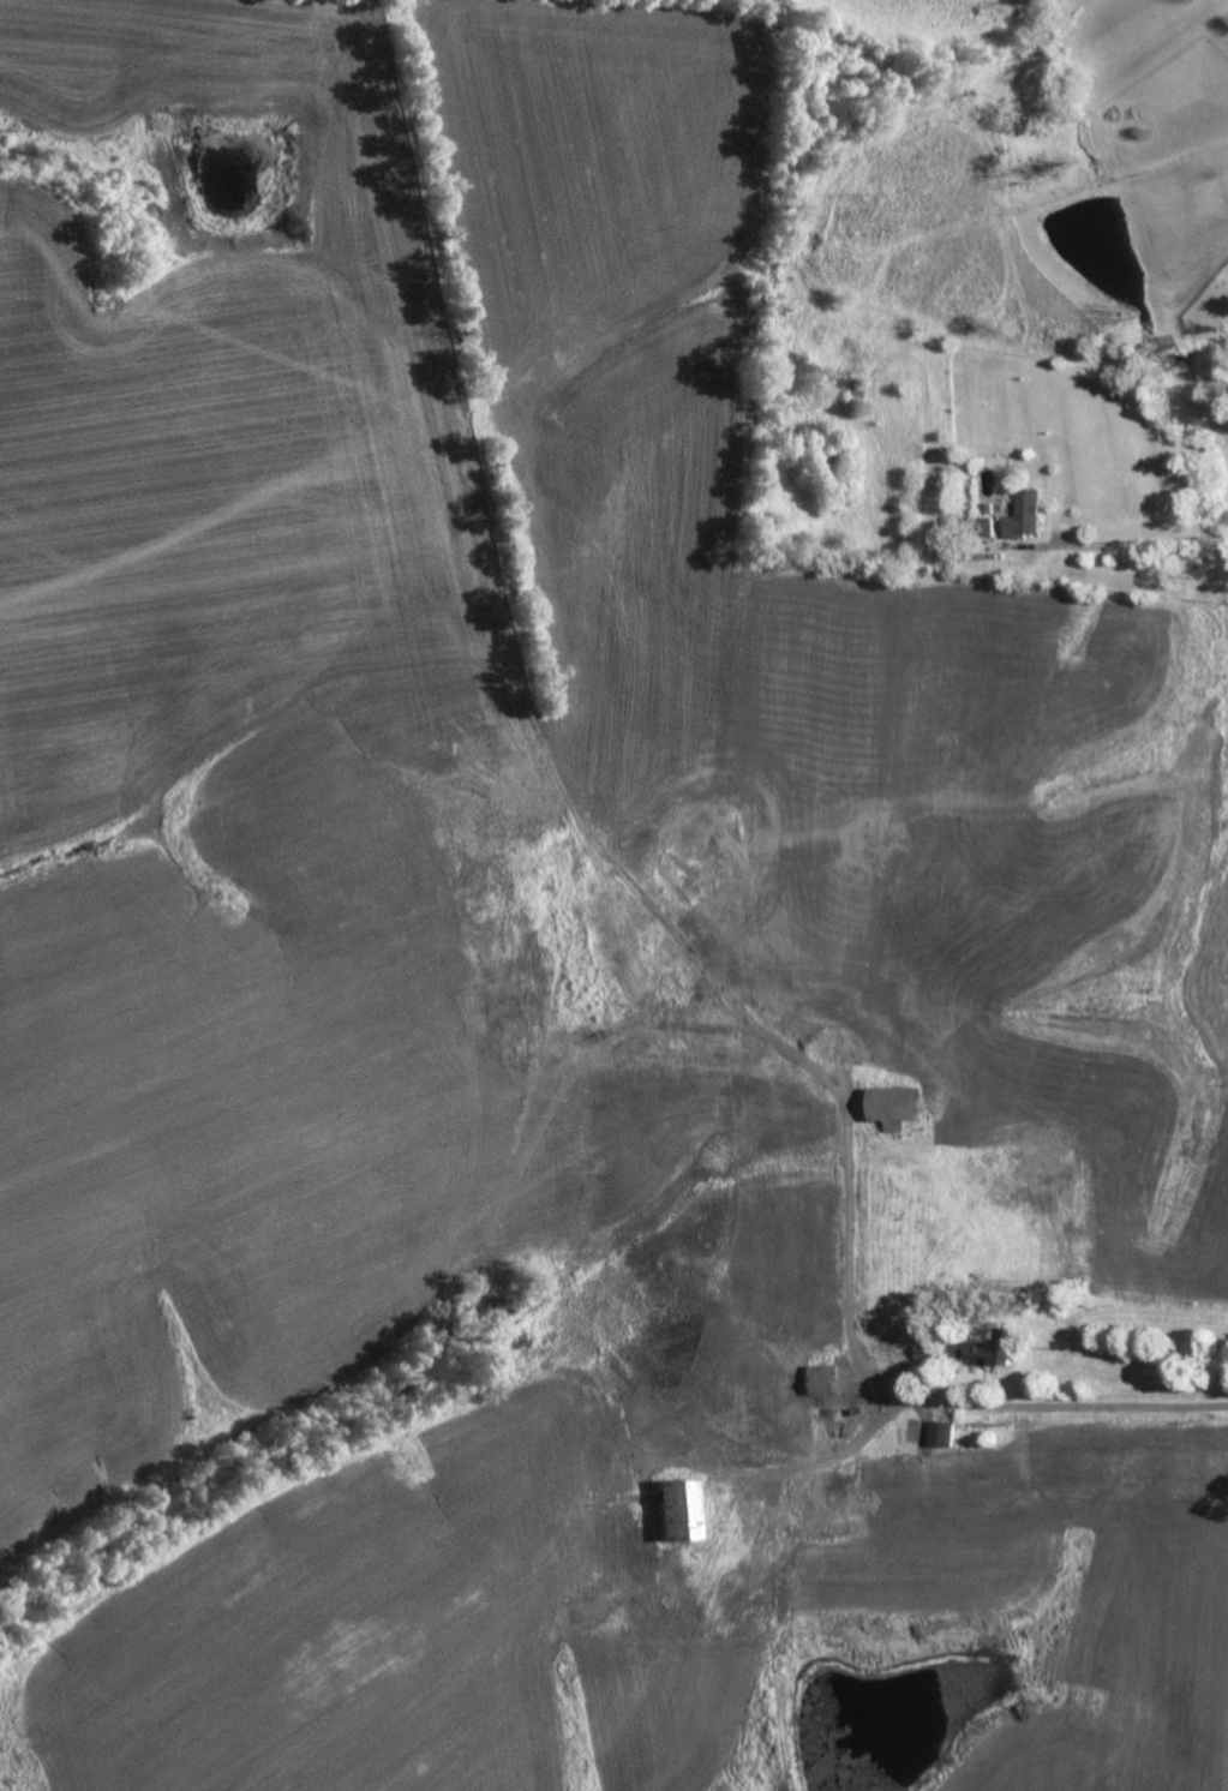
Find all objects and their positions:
building: (1024, 514)
building: (988, 526)
road: (1137, 543)
building: (888, 1107)
building: (987, 1348)
road: (903, 1398)
building: (941, 1432)
building: (671, 1508)

